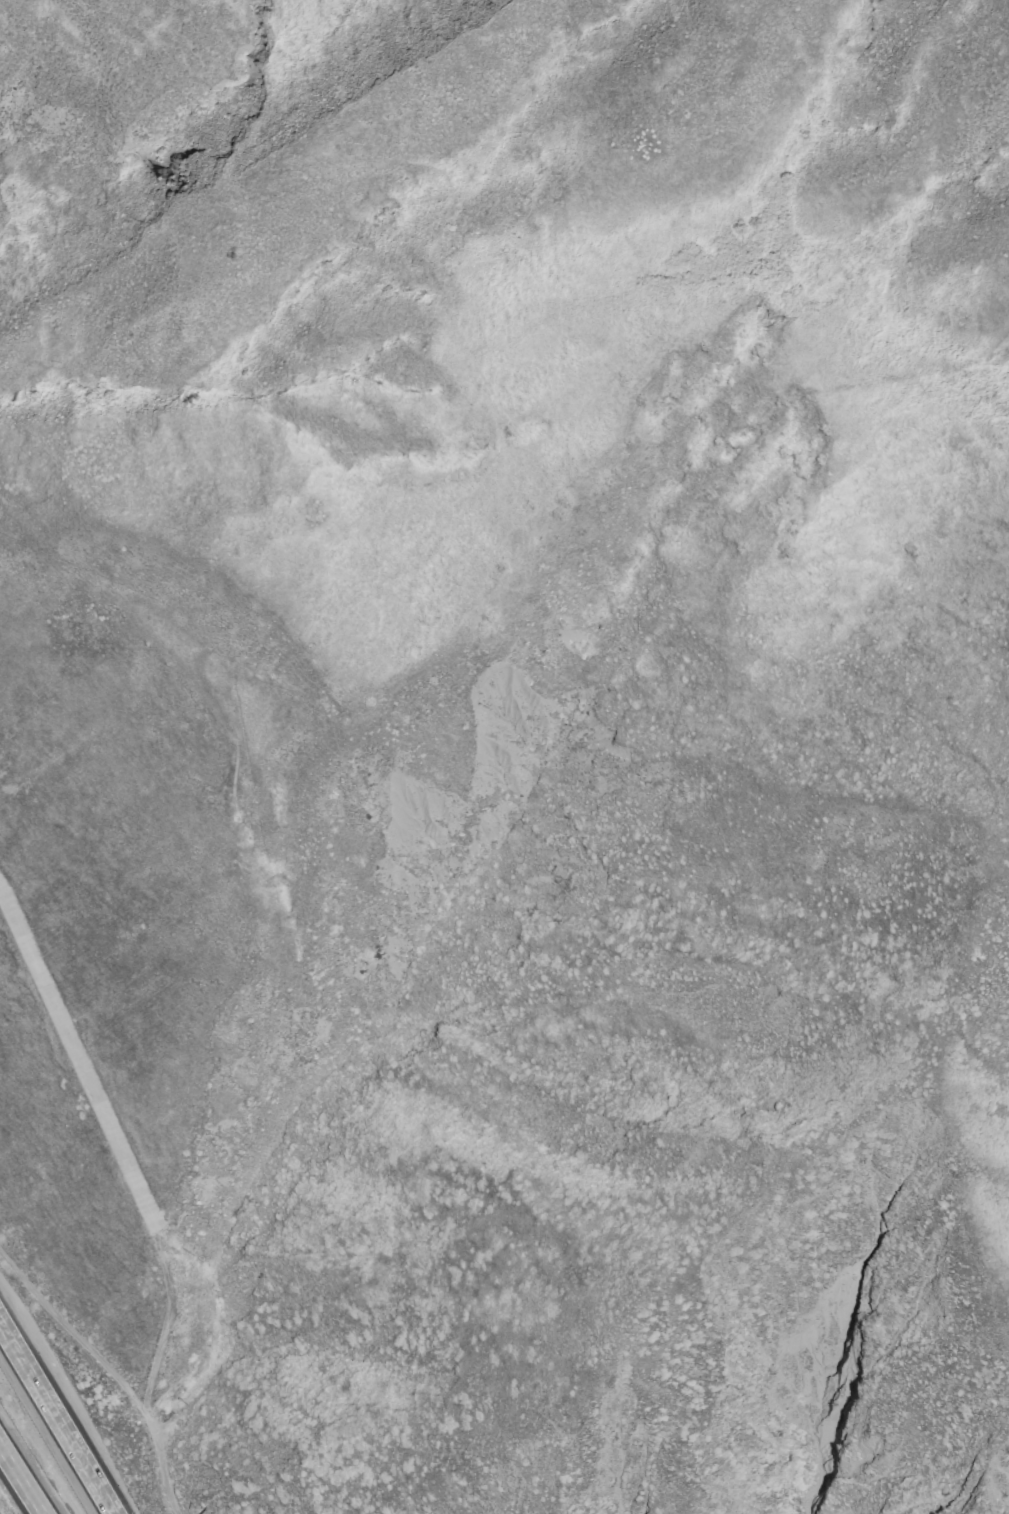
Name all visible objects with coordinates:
road: (56, 1419)
road: (22, 1479)

